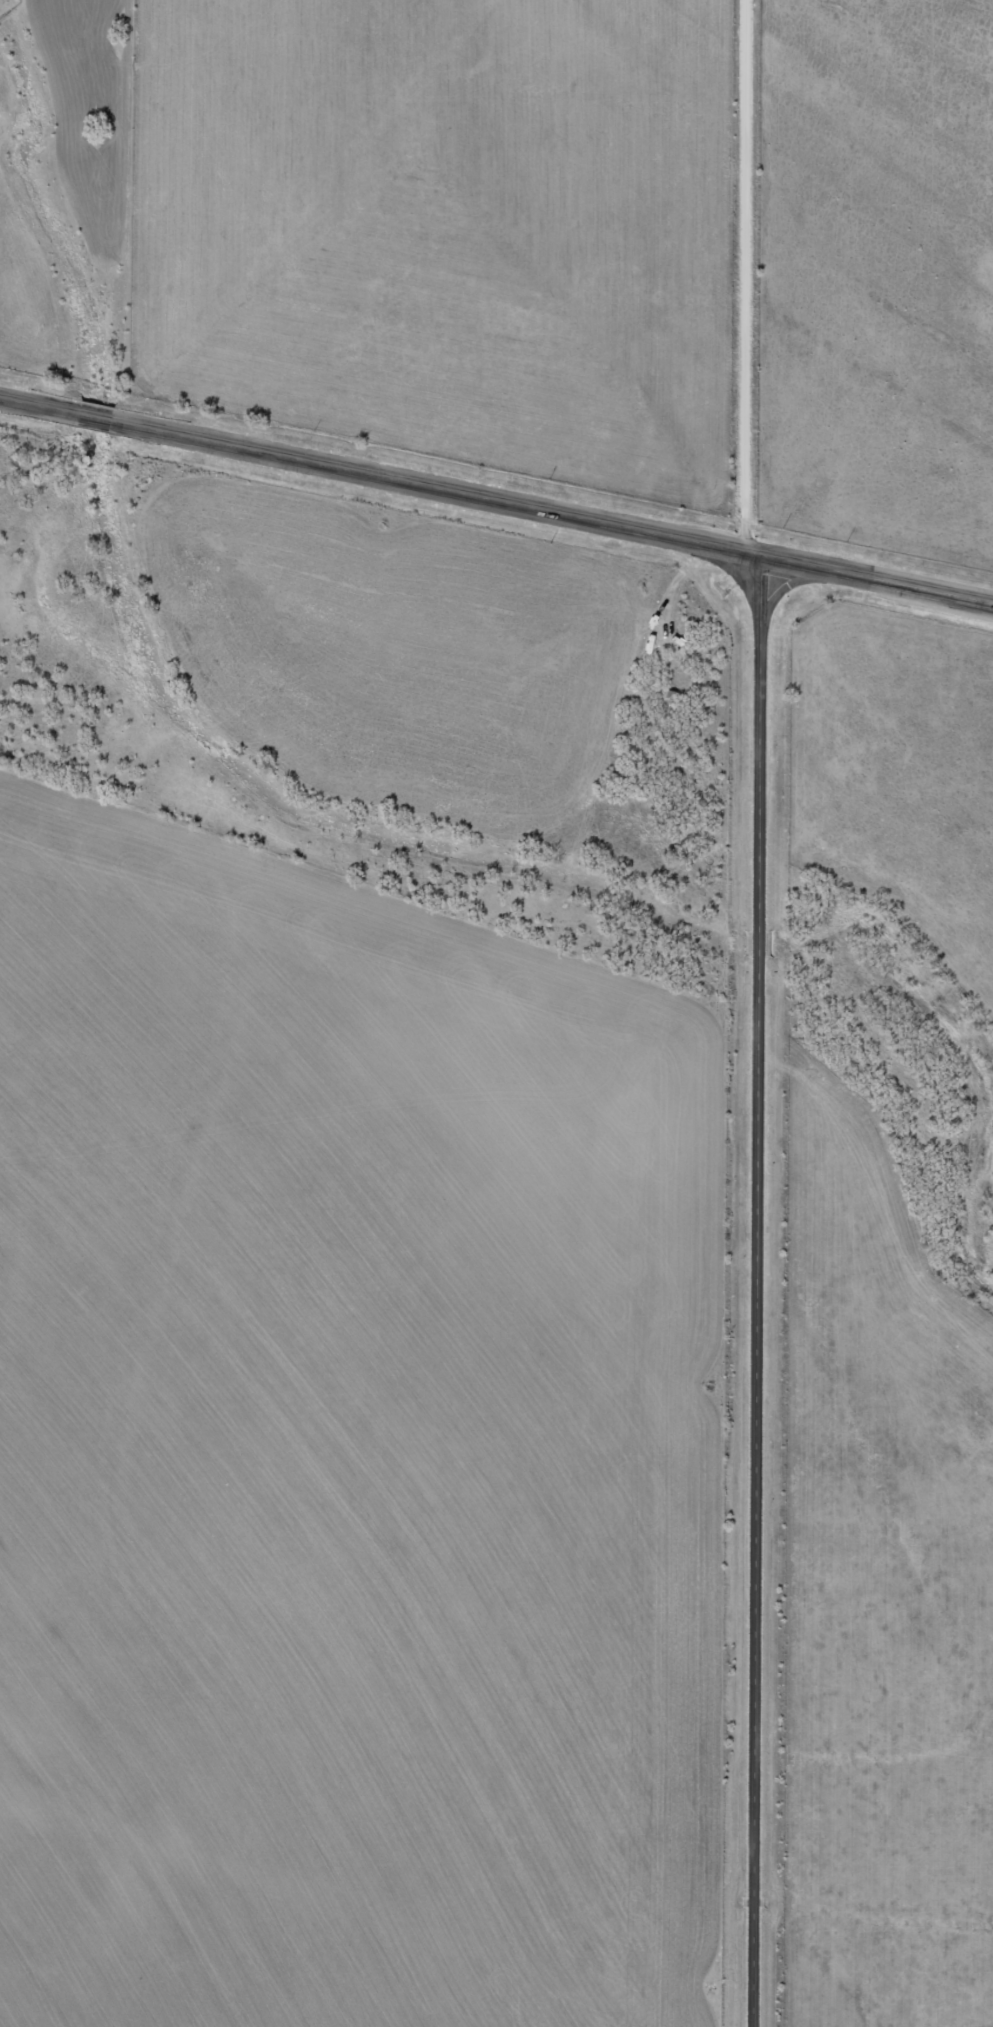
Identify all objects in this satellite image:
road: (751, 274)
road: (496, 502)
road: (759, 1287)

